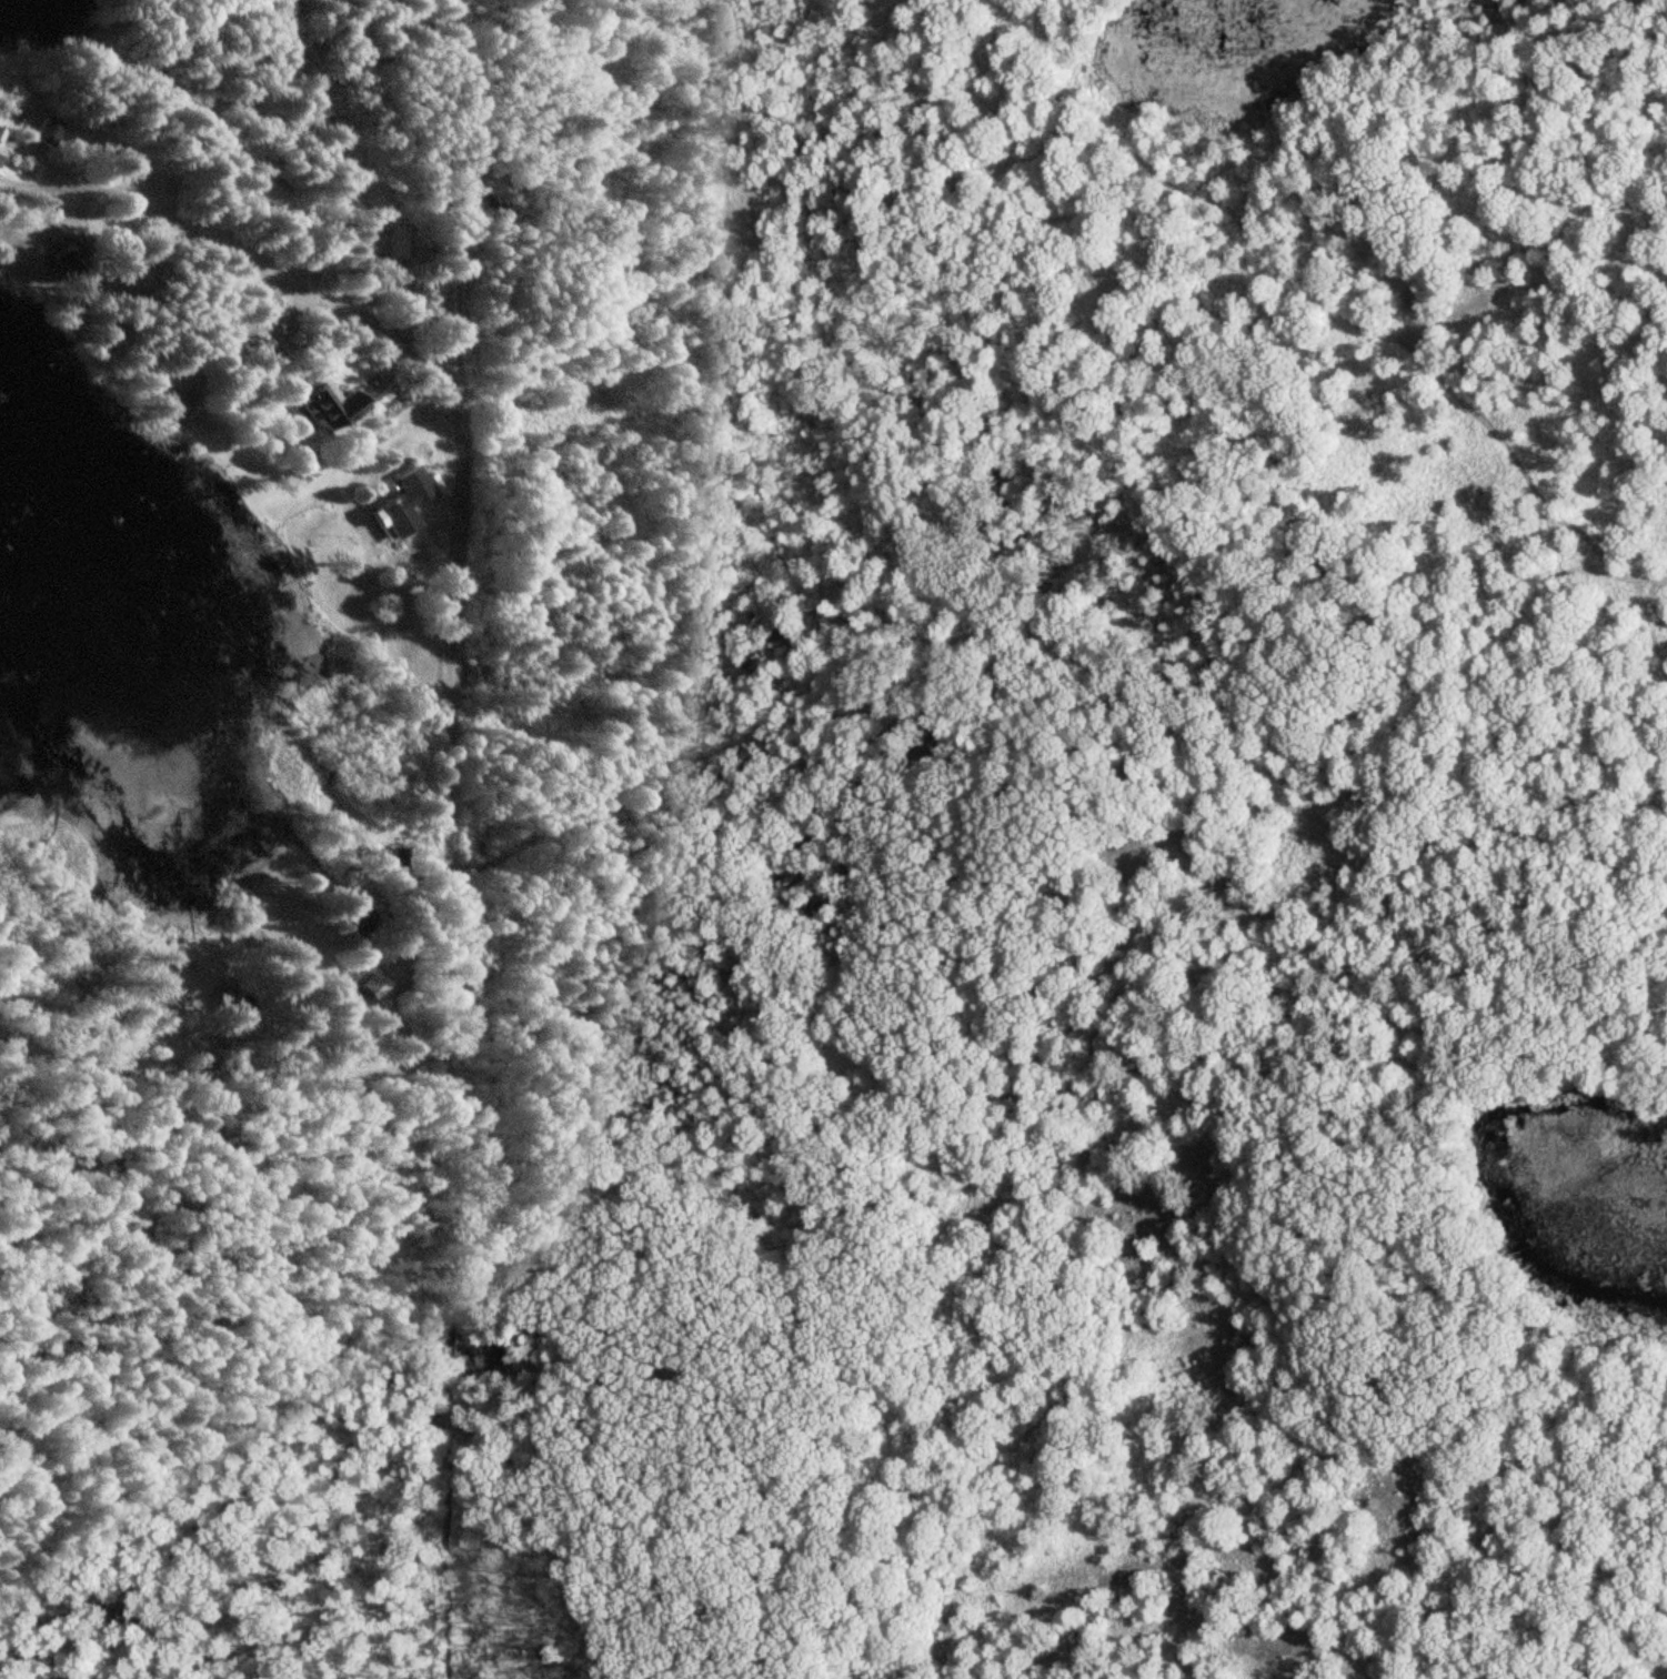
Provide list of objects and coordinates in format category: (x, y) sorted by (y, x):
building: (47, 130)
building: (2, 137)
building: (403, 242)
building: (67, 261)
road: (285, 286)
building: (328, 403)
building: (404, 501)
building: (398, 857)
building: (358, 921)
road: (454, 954)
building: (169, 1004)
building: (235, 1006)

